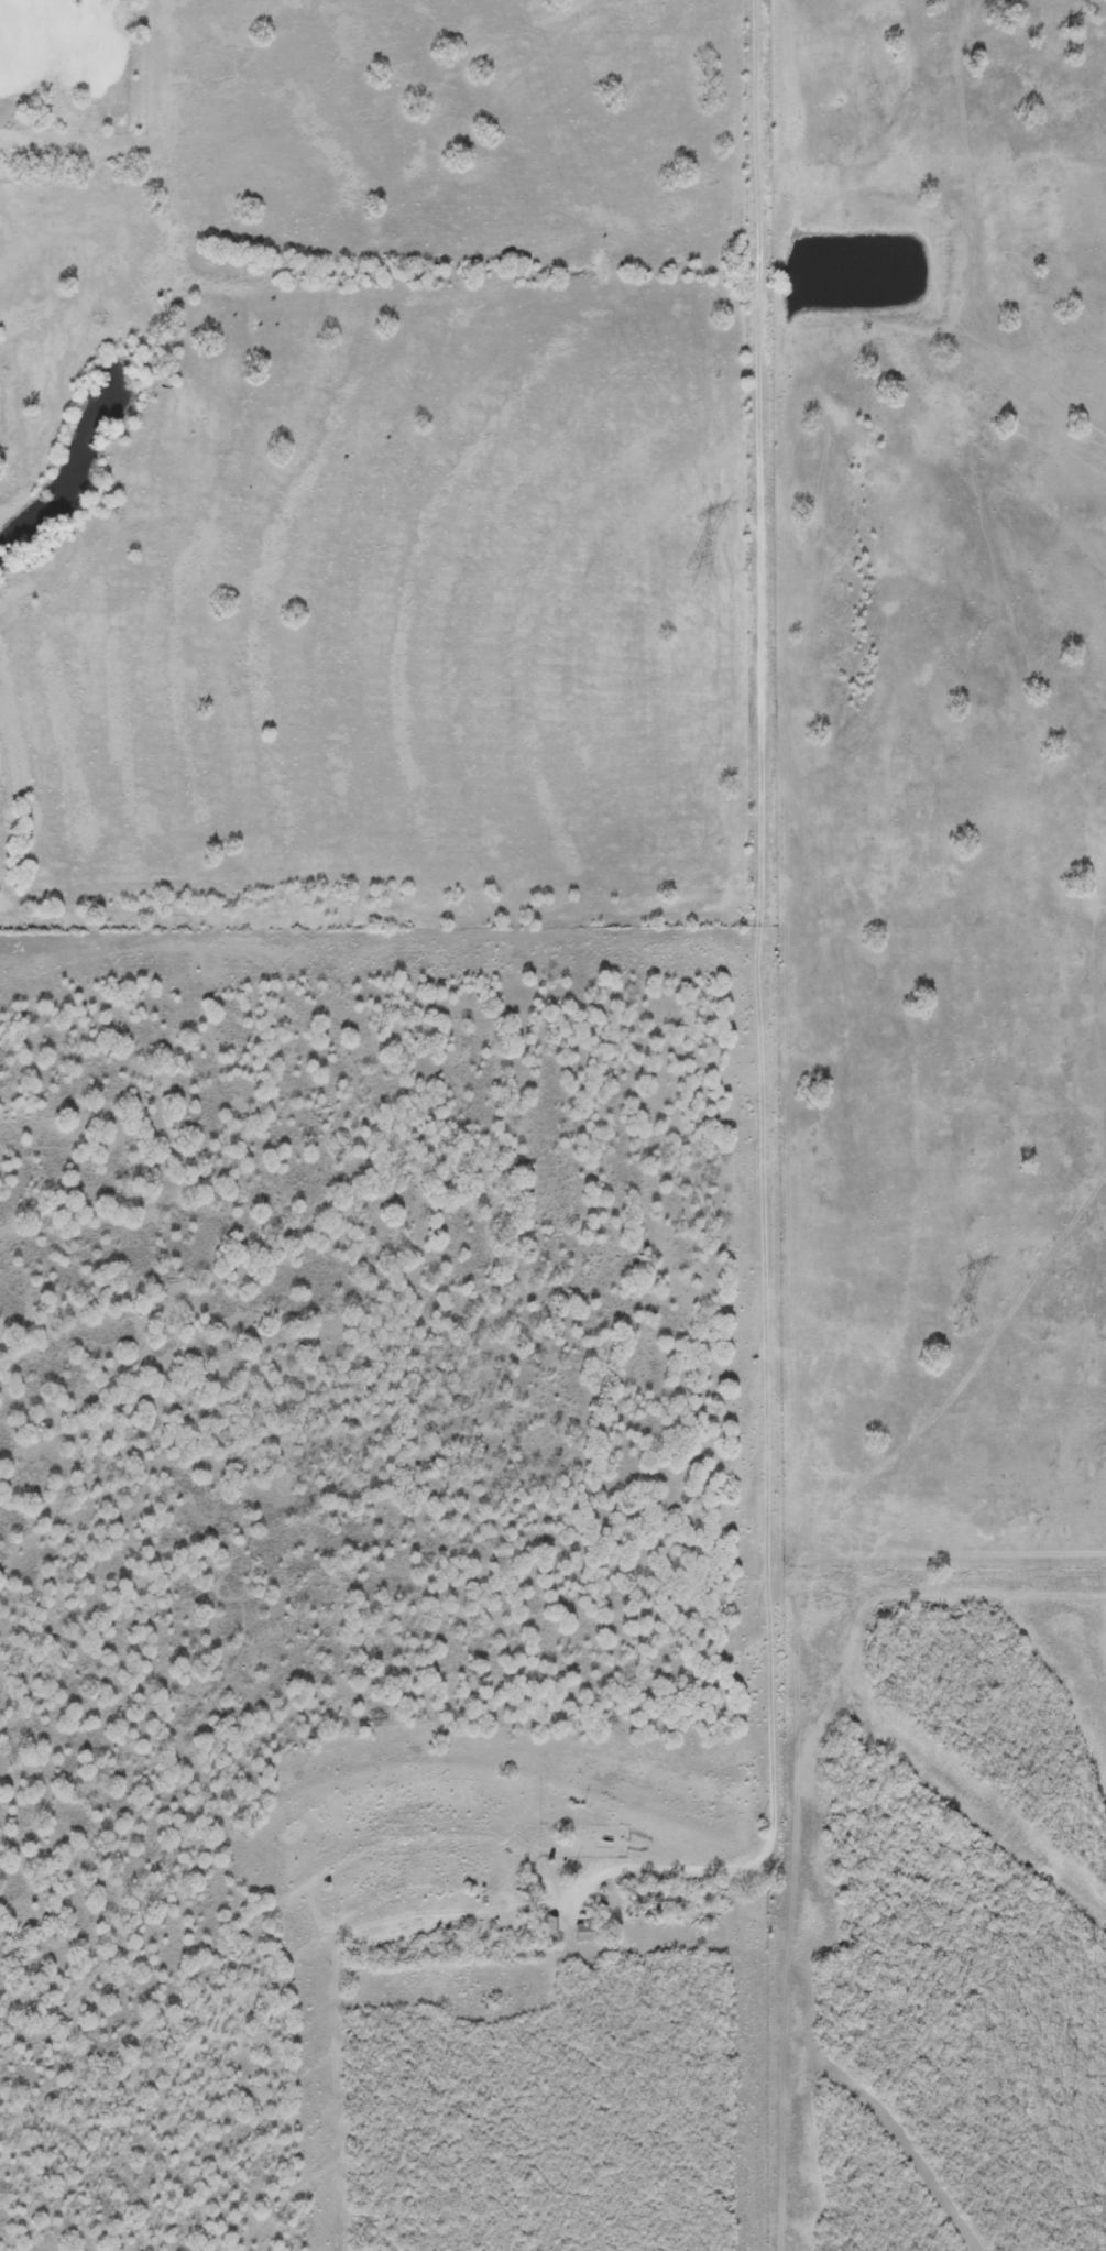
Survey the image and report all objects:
power tower: (698, 573)
power tower: (960, 1321)
building: (644, 1906)
building: (583, 1932)

